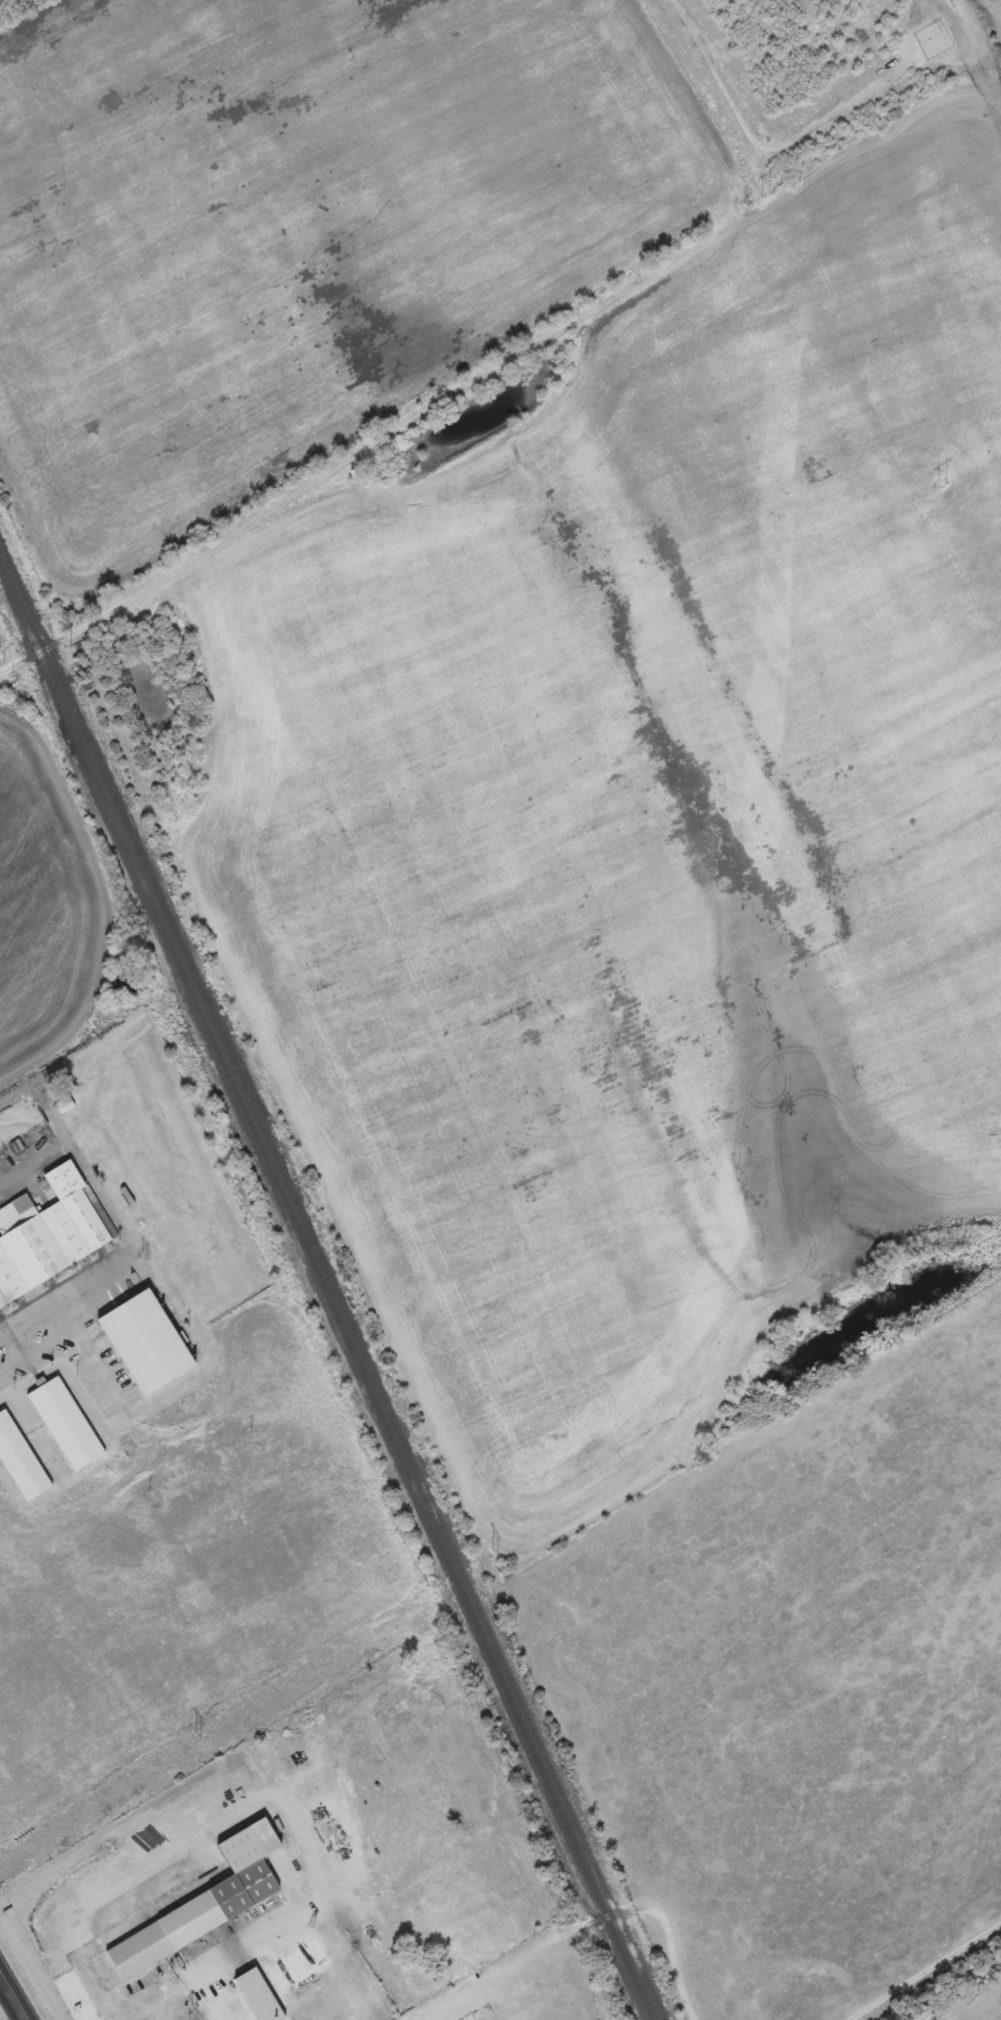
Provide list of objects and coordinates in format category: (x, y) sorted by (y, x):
power tower: (764, 194)
road: (580, 318)
power tower: (940, 485)
road: (79, 628)
road: (32, 1157)
road: (114, 1214)
building: (51, 1236)
road: (483, 1266)
railway: (332, 1282)
railway: (326, 1292)
road: (35, 1349)
road: (85, 1350)
power tower: (751, 1397)
building: (71, 1424)
building: (25, 1455)
power tower: (494, 1553)
power tower: (196, 1735)
building: (223, 1886)
road: (12, 1998)

